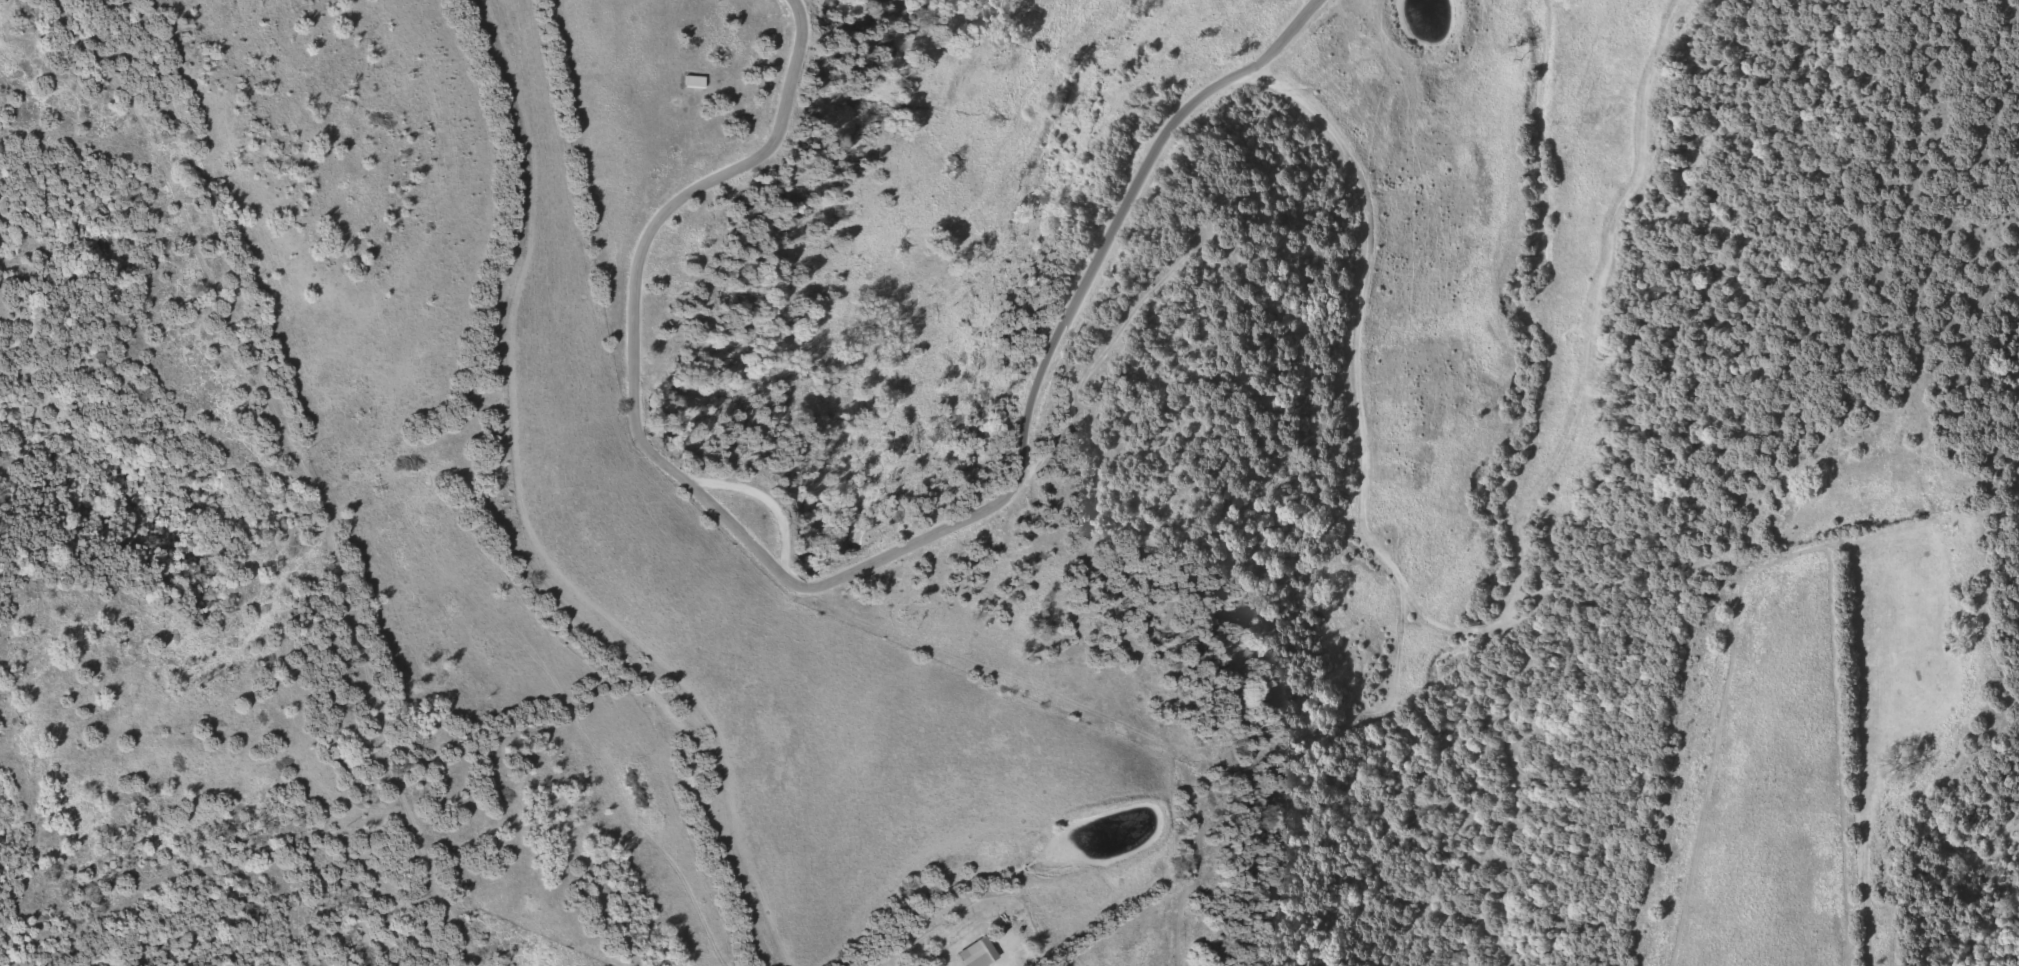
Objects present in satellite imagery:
road: (1289, 38)
building: (697, 81)
road: (1214, 251)
road: (268, 346)
road: (637, 429)
road: (1360, 451)
building: (978, 953)

